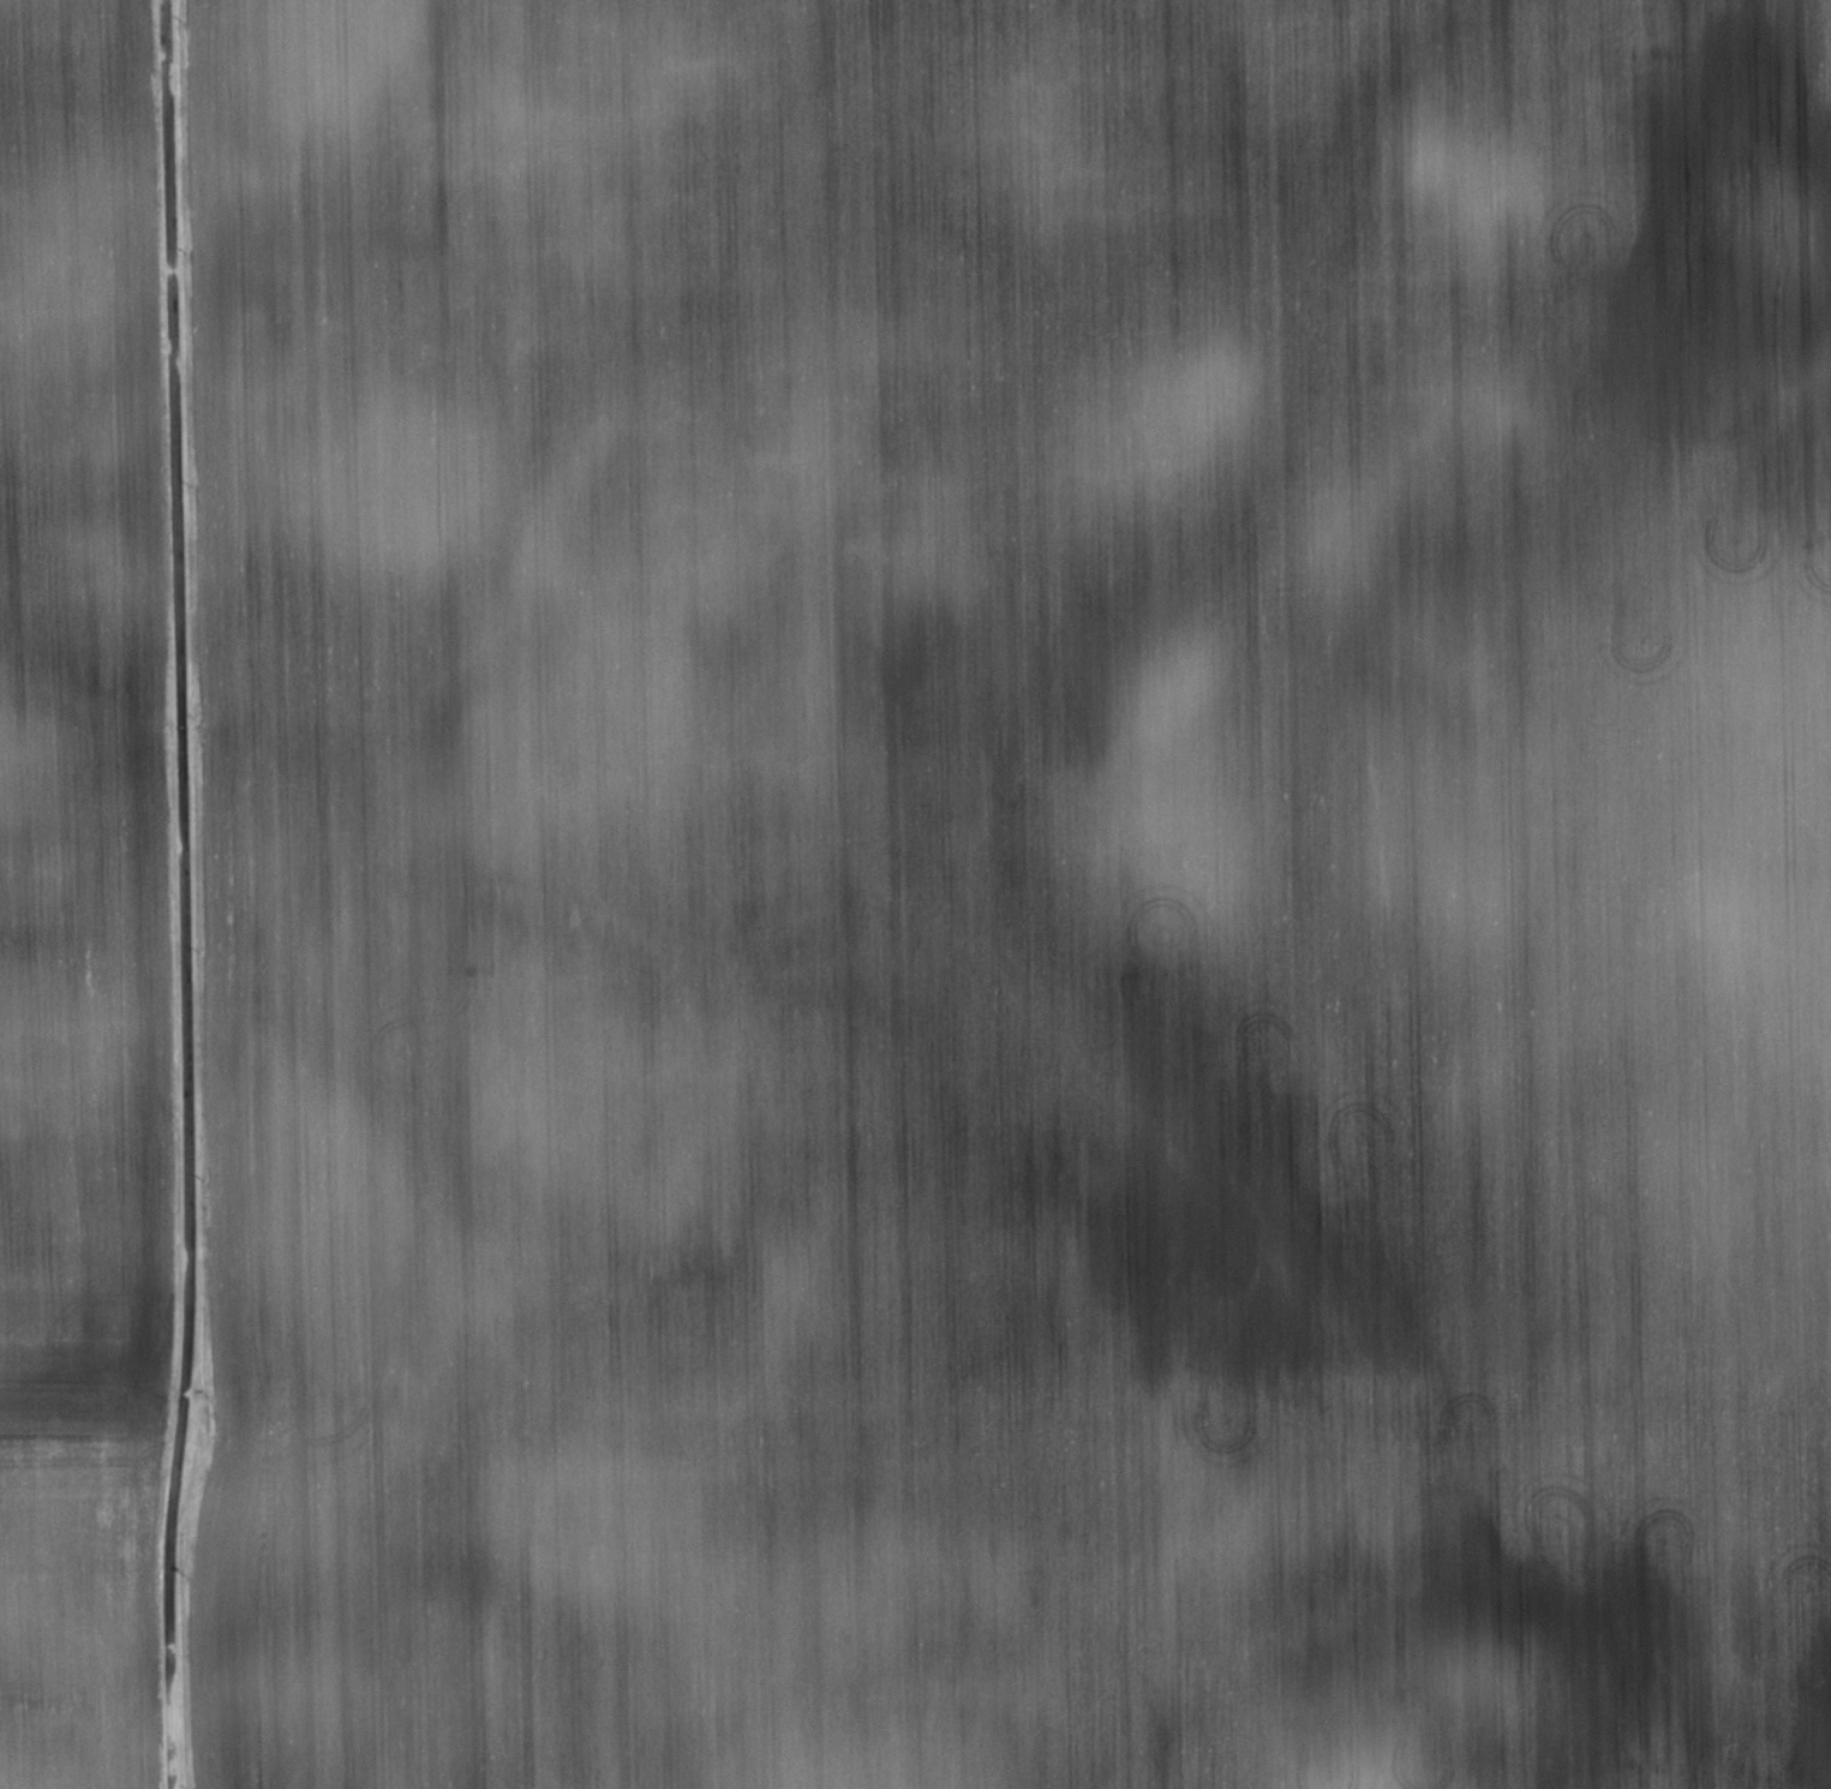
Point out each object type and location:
crop: (1015, 892)
crop: (82, 894)
road: (186, 894)

